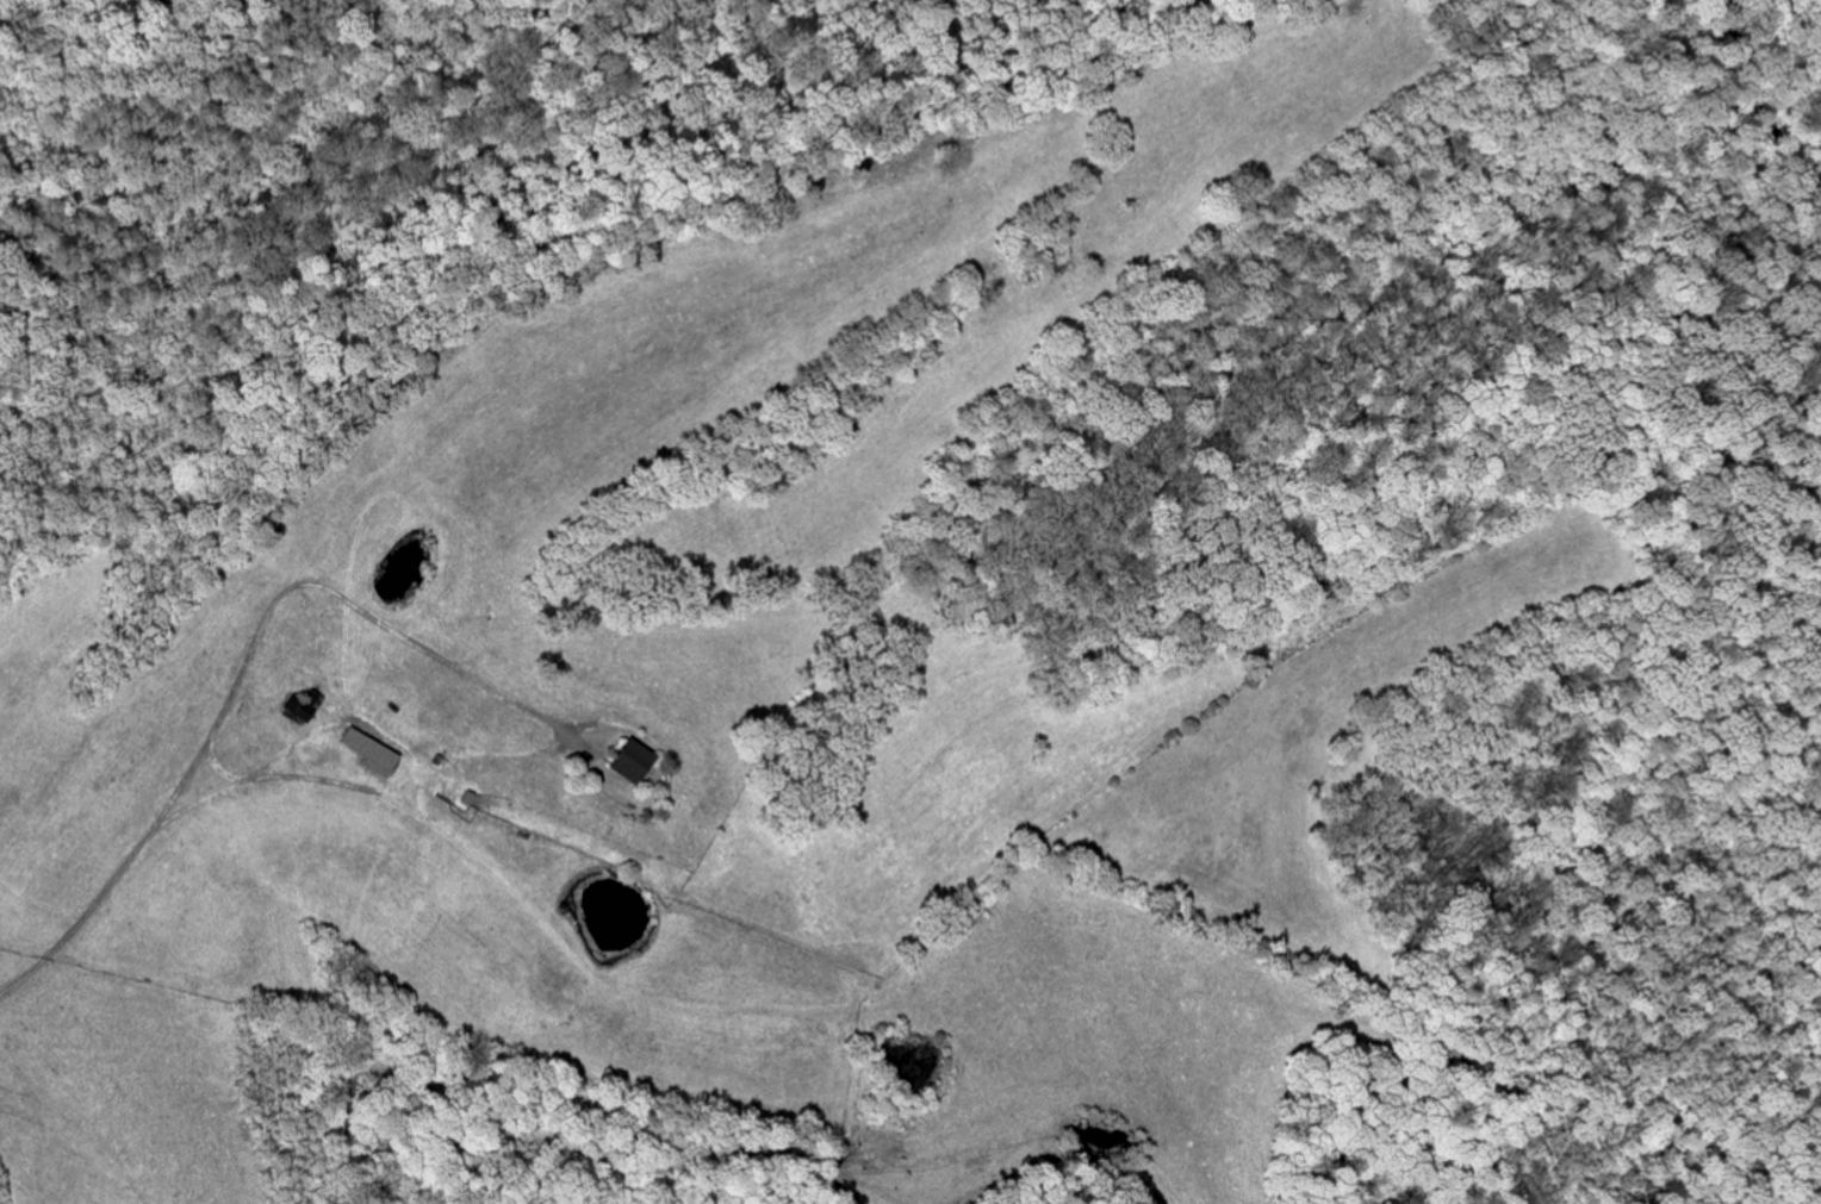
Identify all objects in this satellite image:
building: (305, 710)
building: (378, 753)
building: (639, 762)

